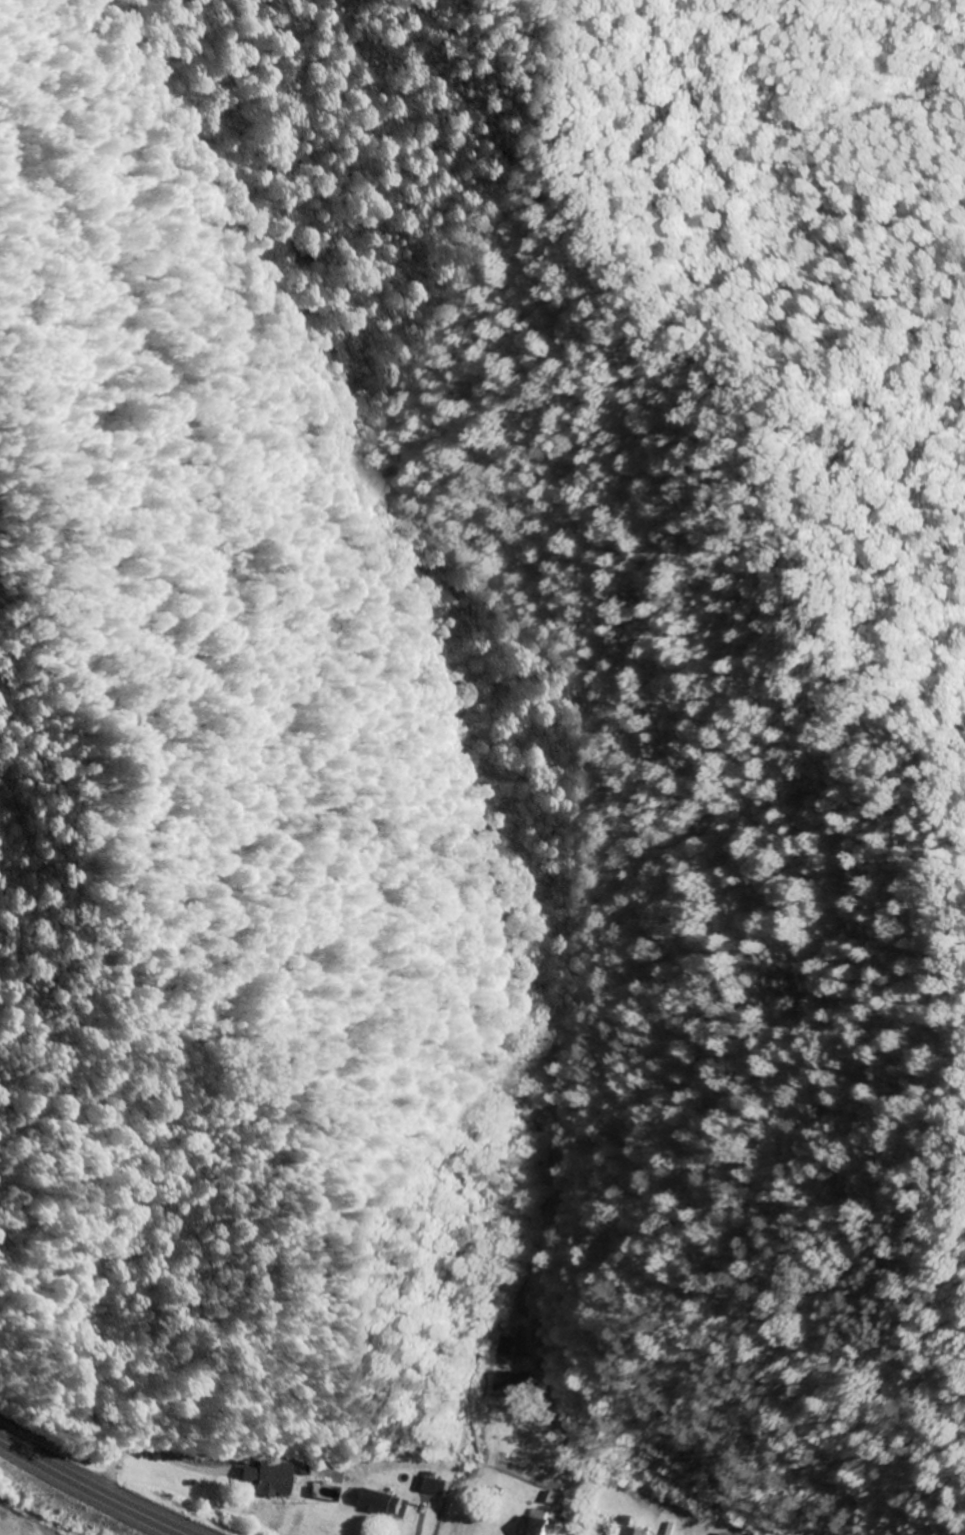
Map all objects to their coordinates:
building: (512, 1383)
building: (272, 1478)
building: (431, 1485)
road: (92, 1489)
building: (383, 1502)
building: (536, 1525)
building: (637, 1532)

